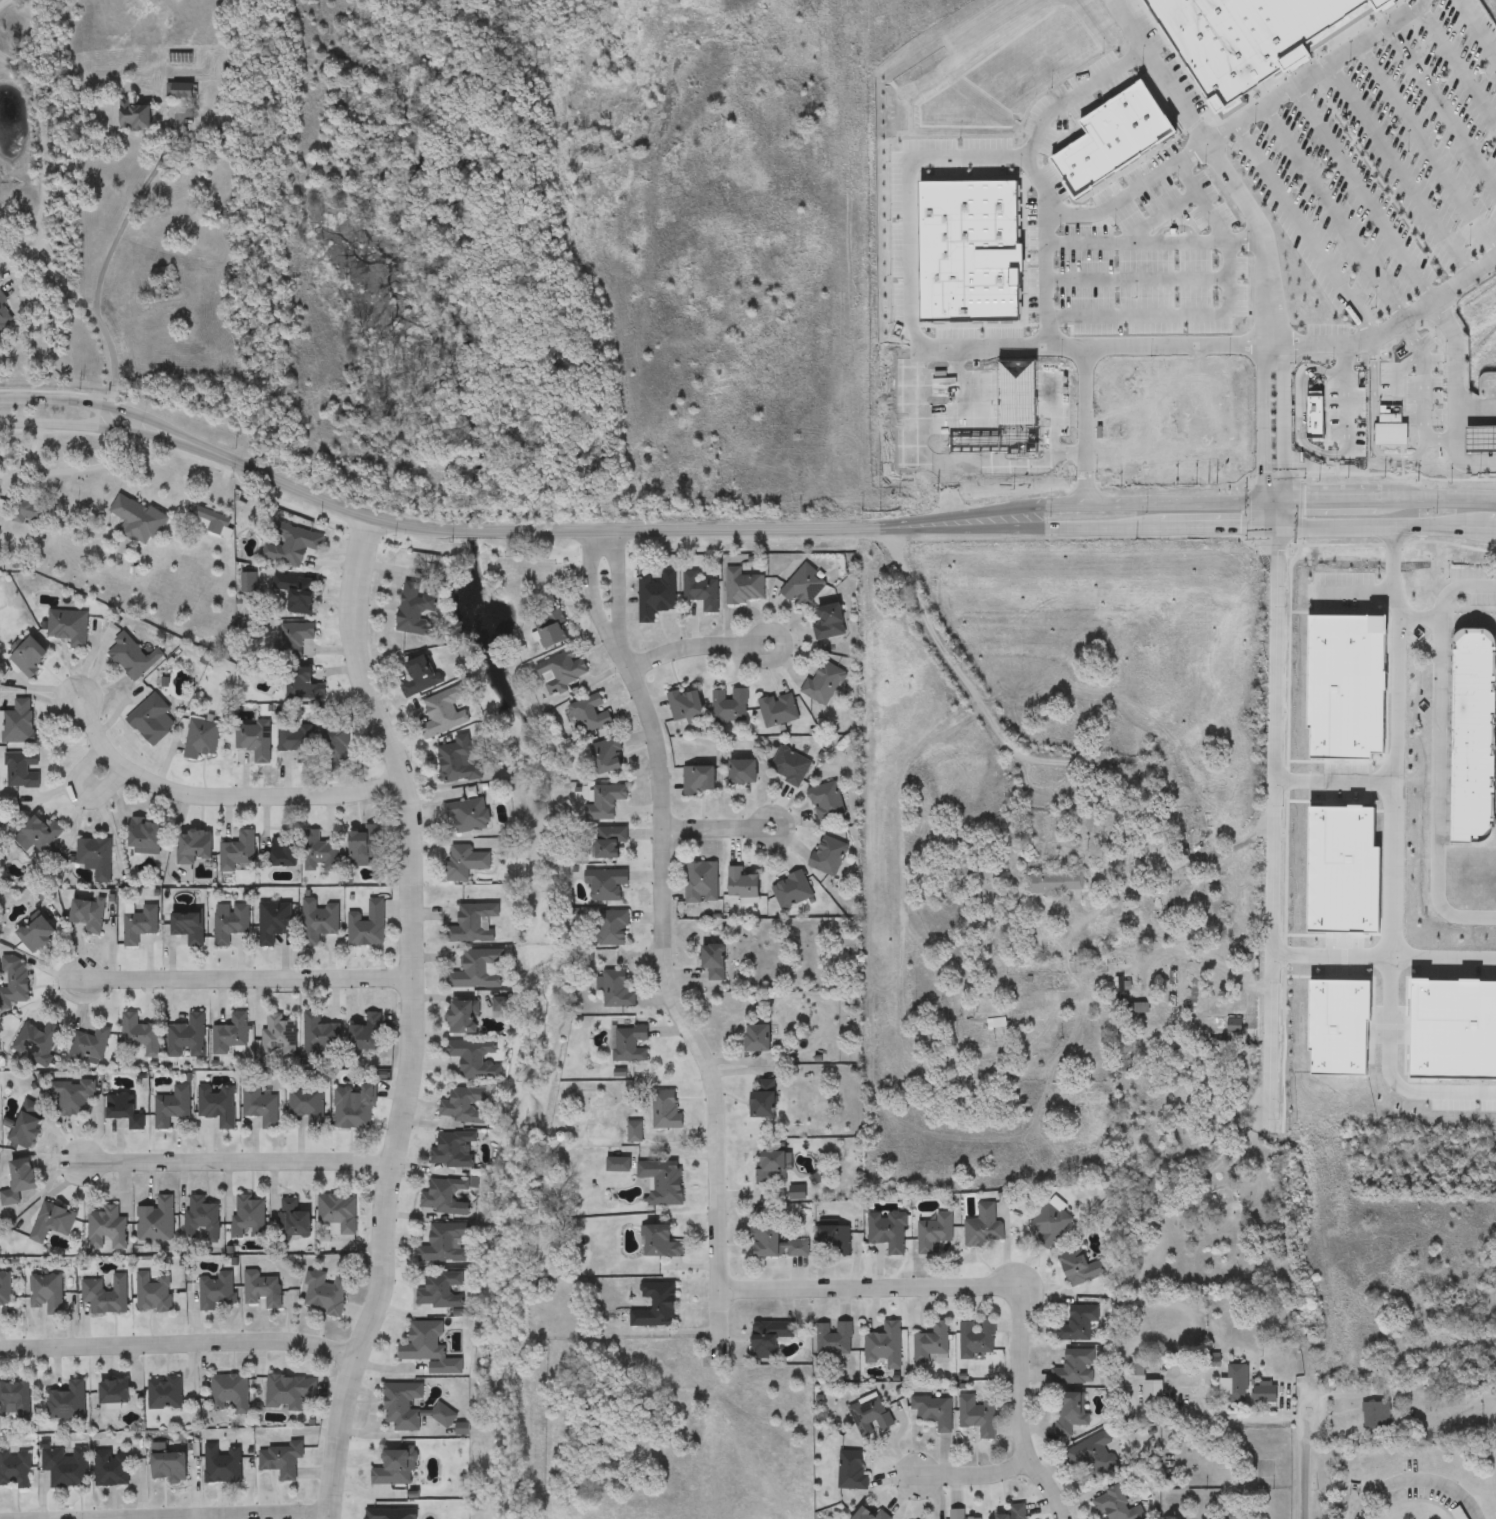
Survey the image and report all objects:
road: (1476, 29)
building: (1249, 38)
road: (1456, 65)
road: (1314, 72)
building: (180, 90)
road: (1077, 94)
road: (1441, 109)
building: (135, 117)
road: (1426, 148)
road: (1009, 156)
road: (1219, 162)
parking lot: (1379, 169)
road: (1397, 173)
road: (1363, 194)
road: (138, 207)
road: (1332, 213)
road: (1162, 215)
road: (1177, 228)
road: (1304, 231)
road: (1154, 241)
road: (46, 244)
building: (967, 248)
parking lot: (1155, 267)
road: (1047, 279)
road: (1137, 279)
road: (1221, 316)
building: (4, 319)
road: (1390, 326)
road: (1098, 345)
road: (986, 346)
road: (1463, 362)
road: (1400, 369)
road: (1424, 395)
road: (1346, 396)
road: (100, 404)
road: (1300, 408)
building: (1315, 417)
road: (1284, 421)
road: (1262, 422)
road: (1373, 424)
road: (97, 426)
building: (1391, 426)
building: (1170, 433)
gas station: (1481, 436)
road: (1465, 442)
road: (63, 470)
traffic signals: (1275, 500)
road: (1182, 502)
building: (30, 510)
building: (212, 519)
building: (136, 520)
road: (1386, 527)
road: (523, 529)
road: (1073, 530)
traffic signals: (1277, 530)
building: (292, 544)
road: (617, 582)
road: (594, 583)
building: (804, 586)
building: (745, 587)
building: (702, 591)
road: (1352, 591)
building: (297, 593)
building: (657, 596)
building: (416, 610)
building: (830, 623)
building: (69, 628)
building: (552, 630)
building: (296, 639)
road: (784, 650)
road: (690, 652)
building: (29, 658)
building: (134, 658)
building: (562, 673)
building: (421, 677)
building: (824, 684)
building: (304, 685)
building: (1346, 685)
building: (686, 705)
building: (730, 707)
building: (779, 710)
building: (444, 713)
building: (591, 716)
building: (153, 720)
building: (19, 723)
building: (1473, 735)
building: (202, 739)
building: (255, 739)
building: (335, 739)
building: (298, 740)
road: (1006, 740)
building: (607, 756)
road: (1440, 757)
building: (460, 760)
building: (791, 767)
building: (23, 770)
road: (100, 771)
building: (744, 772)
building: (699, 781)
road: (1333, 781)
road: (219, 793)
building: (606, 802)
building: (827, 802)
road: (1271, 812)
building: (468, 815)
road: (790, 823)
road: (711, 829)
building: (1180, 831)
building: (43, 832)
building: (146, 835)
building: (610, 841)
building: (194, 846)
building: (366, 846)
road: (910, 847)
building: (238, 852)
building: (283, 852)
building: (321, 853)
building: (829, 855)
building: (97, 857)
road: (1393, 857)
building: (466, 863)
building: (1344, 870)
building: (702, 882)
building: (606, 884)
building: (743, 884)
building: (1056, 885)
building: (792, 890)
helipad: (781, 891)
building: (1164, 902)
building: (89, 914)
building: (320, 921)
building: (275, 922)
building: (230, 923)
building: (474, 923)
building: (140, 925)
building: (368, 925)
building: (614, 927)
building: (189, 928)
building: (37, 933)
road: (1189, 953)
road: (1381, 957)
building: (714, 962)
building: (479, 970)
road: (249, 976)
building: (15, 983)
building: (618, 989)
road: (674, 997)
building: (465, 1017)
road: (412, 1018)
building: (997, 1024)
building: (1339, 1026)
building: (1223, 1027)
building: (1453, 1028)
building: (367, 1034)
building: (141, 1035)
building: (231, 1035)
building: (281, 1036)
building: (321, 1037)
building: (188, 1038)
building: (759, 1039)
building: (37, 1043)
building: (630, 1044)
building: (90, 1045)
building: (477, 1059)
building: (73, 1097)
building: (764, 1099)
building: (218, 1104)
building: (309, 1104)
building: (464, 1105)
building: (261, 1106)
building: (173, 1107)
building: (355, 1109)
building: (667, 1110)
building: (124, 1111)
building: (26, 1127)
building: (635, 1132)
building: (453, 1150)
road: (236, 1159)
building: (773, 1168)
building: (19, 1181)
building: (664, 1182)
building: (445, 1197)
building: (339, 1214)
building: (249, 1217)
building: (202, 1220)
building: (293, 1220)
building: (157, 1221)
building: (53, 1222)
building: (1051, 1224)
building: (985, 1227)
building: (108, 1230)
building: (889, 1231)
building: (935, 1233)
building: (834, 1240)
building: (444, 1243)
building: (660, 1243)
building: (774, 1244)
building: (1081, 1268)
road: (863, 1286)
building: (5, 1290)
building: (218, 1291)
building: (262, 1291)
building: (440, 1291)
building: (154, 1293)
building: (47, 1294)
building: (326, 1294)
building: (106, 1295)
building: (656, 1306)
building: (1079, 1324)
building: (770, 1338)
building: (977, 1338)
building: (835, 1340)
building: (424, 1342)
building: (932, 1345)
building: (884, 1347)
road: (180, 1348)
building: (1076, 1368)
building: (1239, 1385)
building: (115, 1391)
building: (289, 1392)
building: (165, 1393)
building: (230, 1393)
road: (1354, 1394)
building: (1265, 1396)
building: (15, 1401)
building: (68, 1402)
building: (402, 1405)
road: (1021, 1405)
building: (935, 1412)
building: (1072, 1412)
building: (444, 1415)
building: (1377, 1415)
building: (872, 1416)
building: (978, 1416)
building: (1094, 1454)
building: (282, 1459)
road: (1302, 1460)
building: (223, 1464)
building: (168, 1465)
building: (66, 1467)
building: (112, 1468)
building: (393, 1468)
building: (15, 1470)
building: (852, 1471)
road: (974, 1473)
road: (1417, 1480)
building: (1118, 1506)
building: (1016, 1512)
building: (391, 1514)
building: (870, 1514)
building: (960, 1514)
road: (285, 1517)

